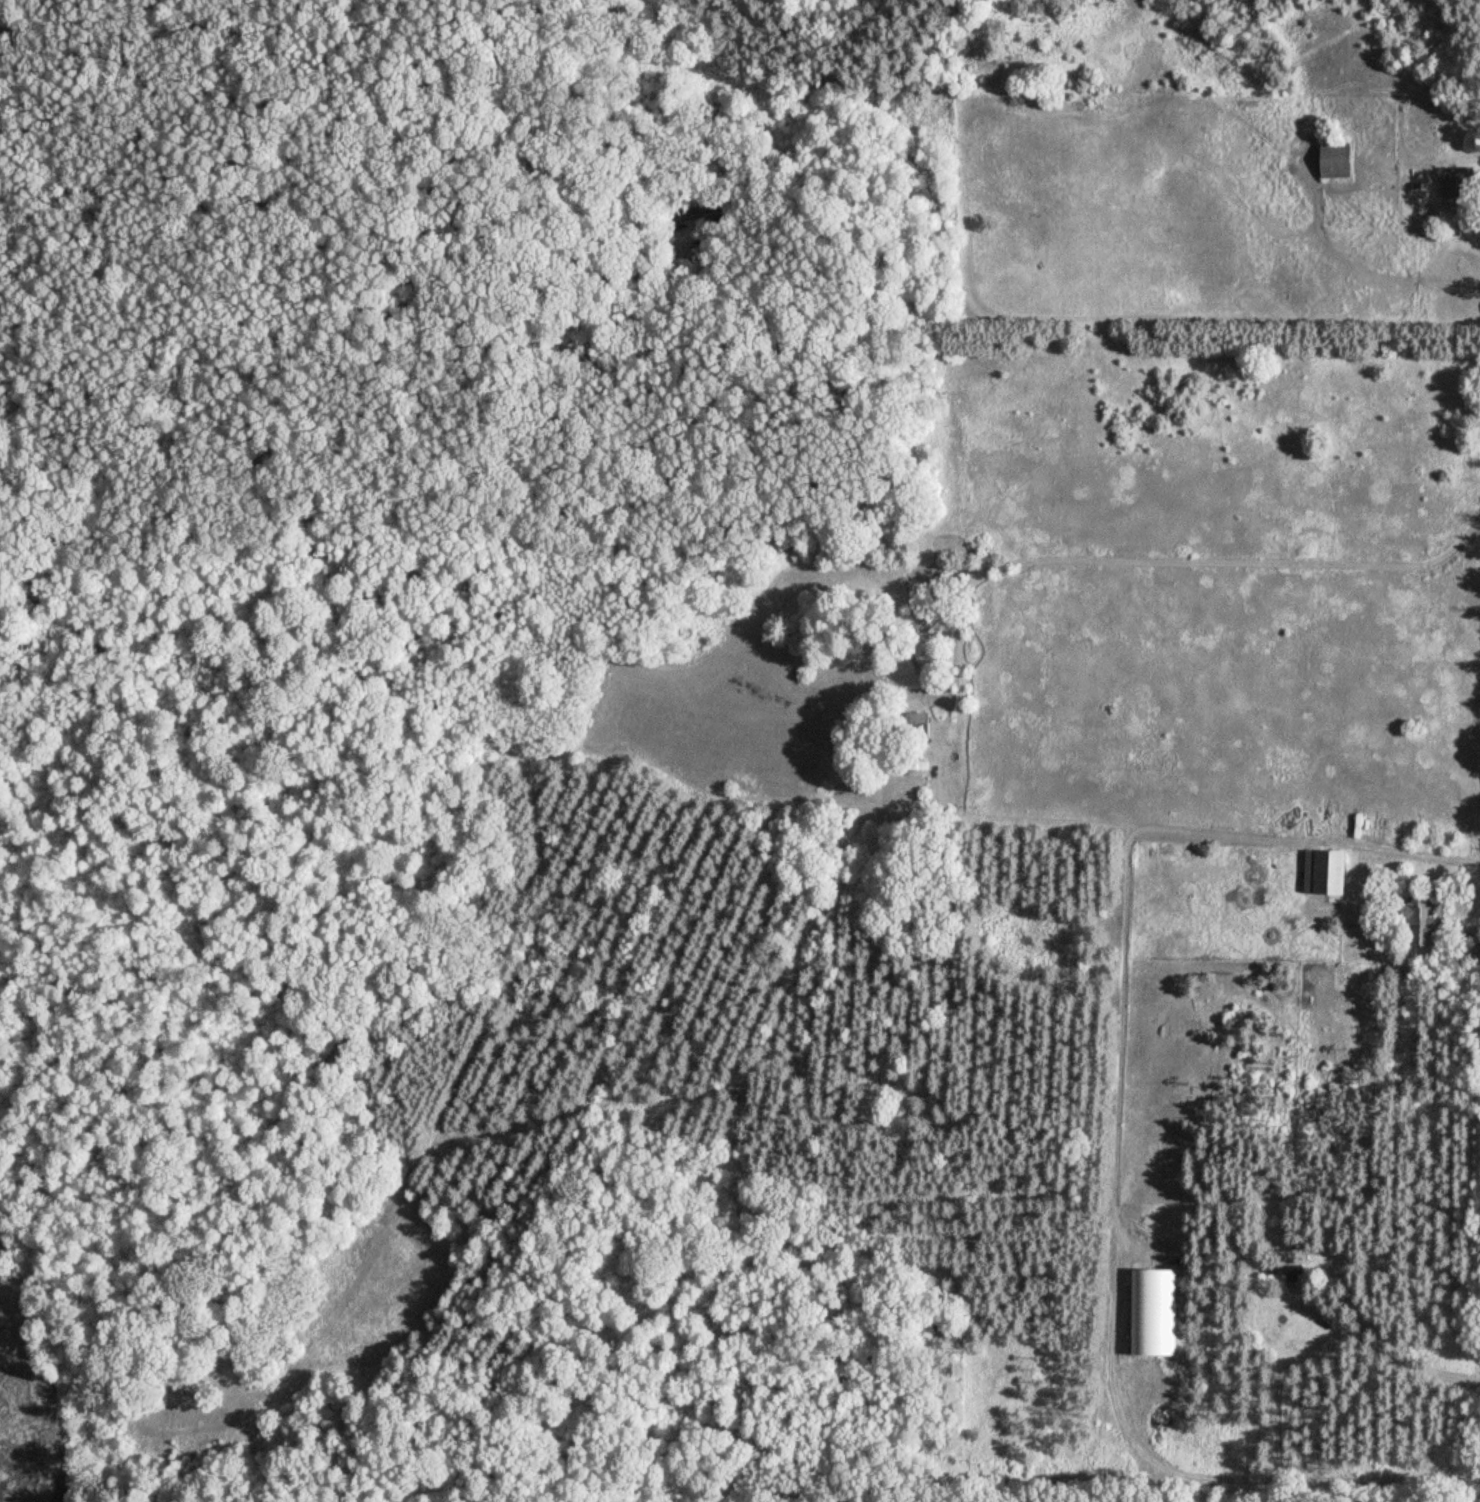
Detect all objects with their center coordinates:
building: (1337, 159)
building: (1458, 179)
building: (1327, 871)
road: (1125, 916)
building: (1422, 926)
building: (1287, 1274)
building: (1153, 1312)

